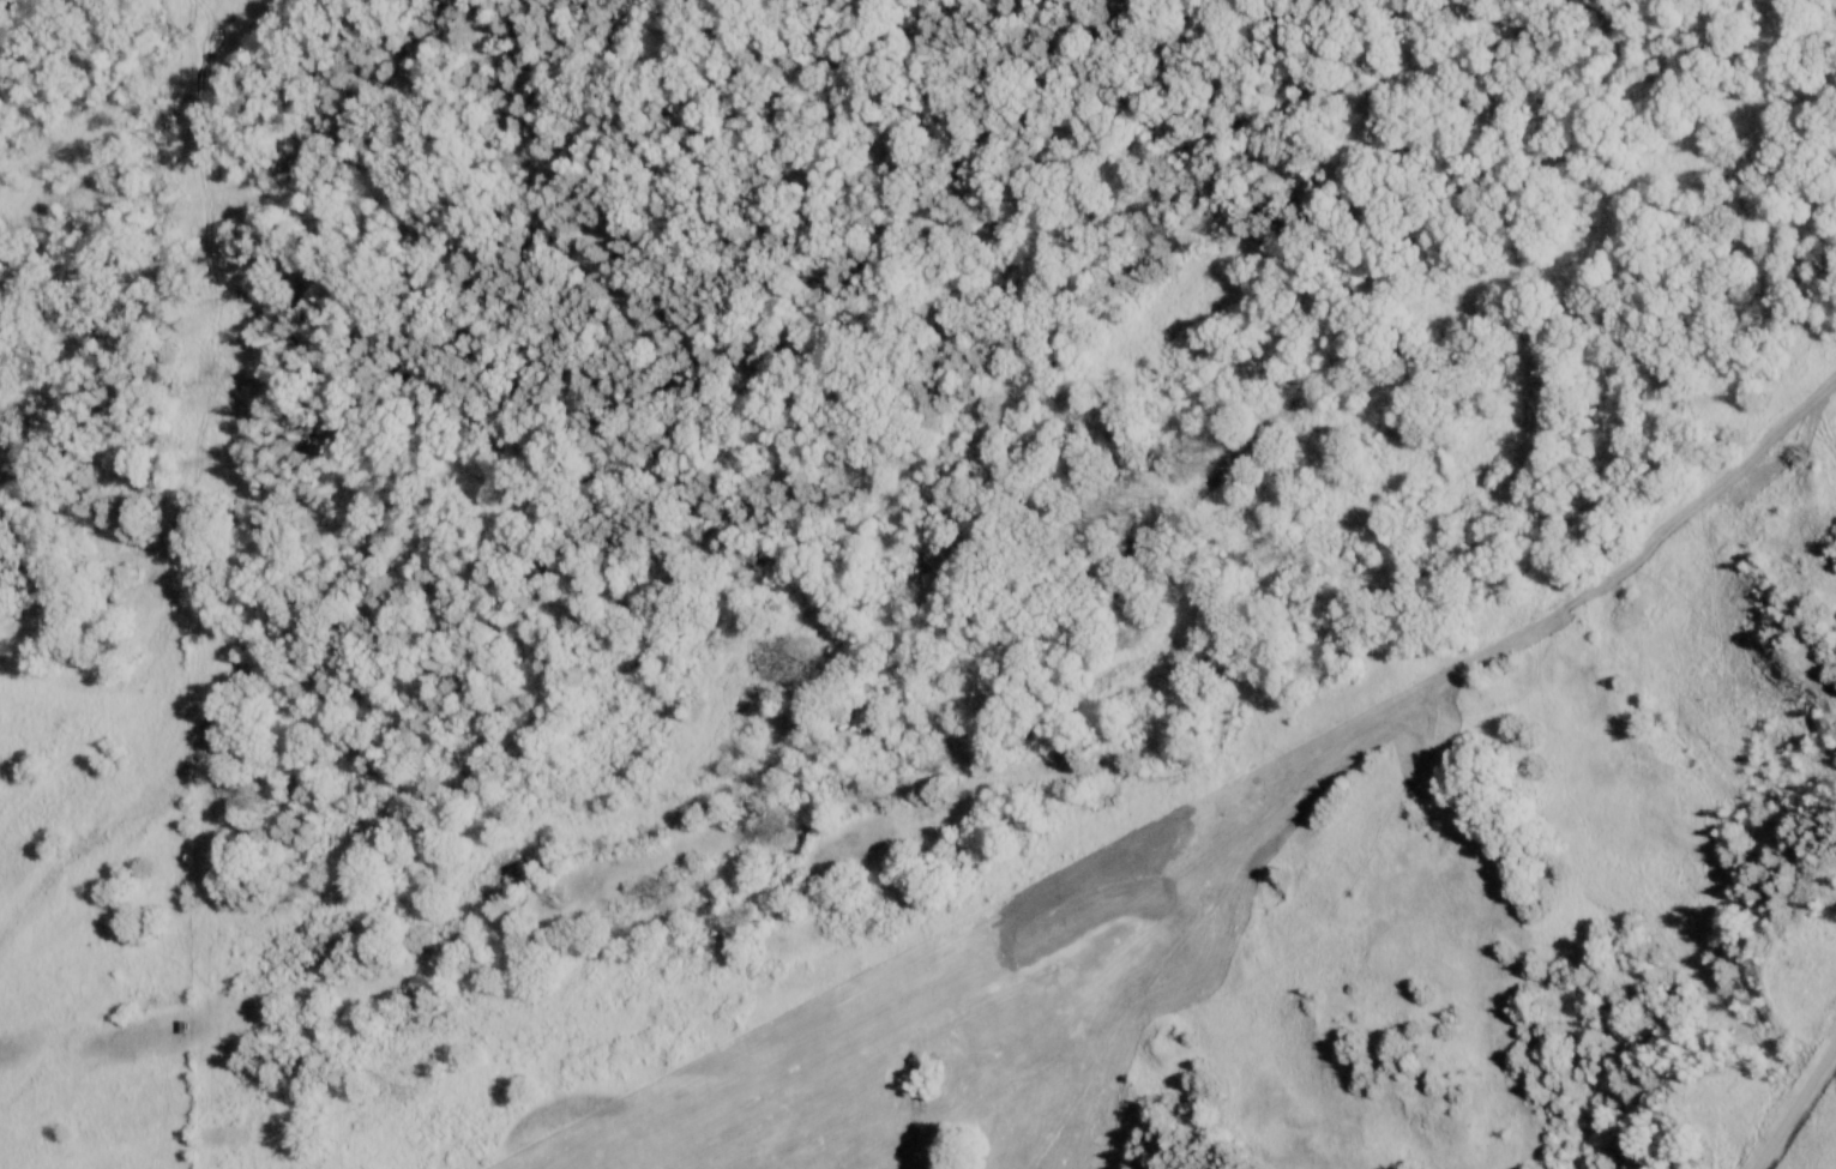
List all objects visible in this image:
road: (1795, 1107)

